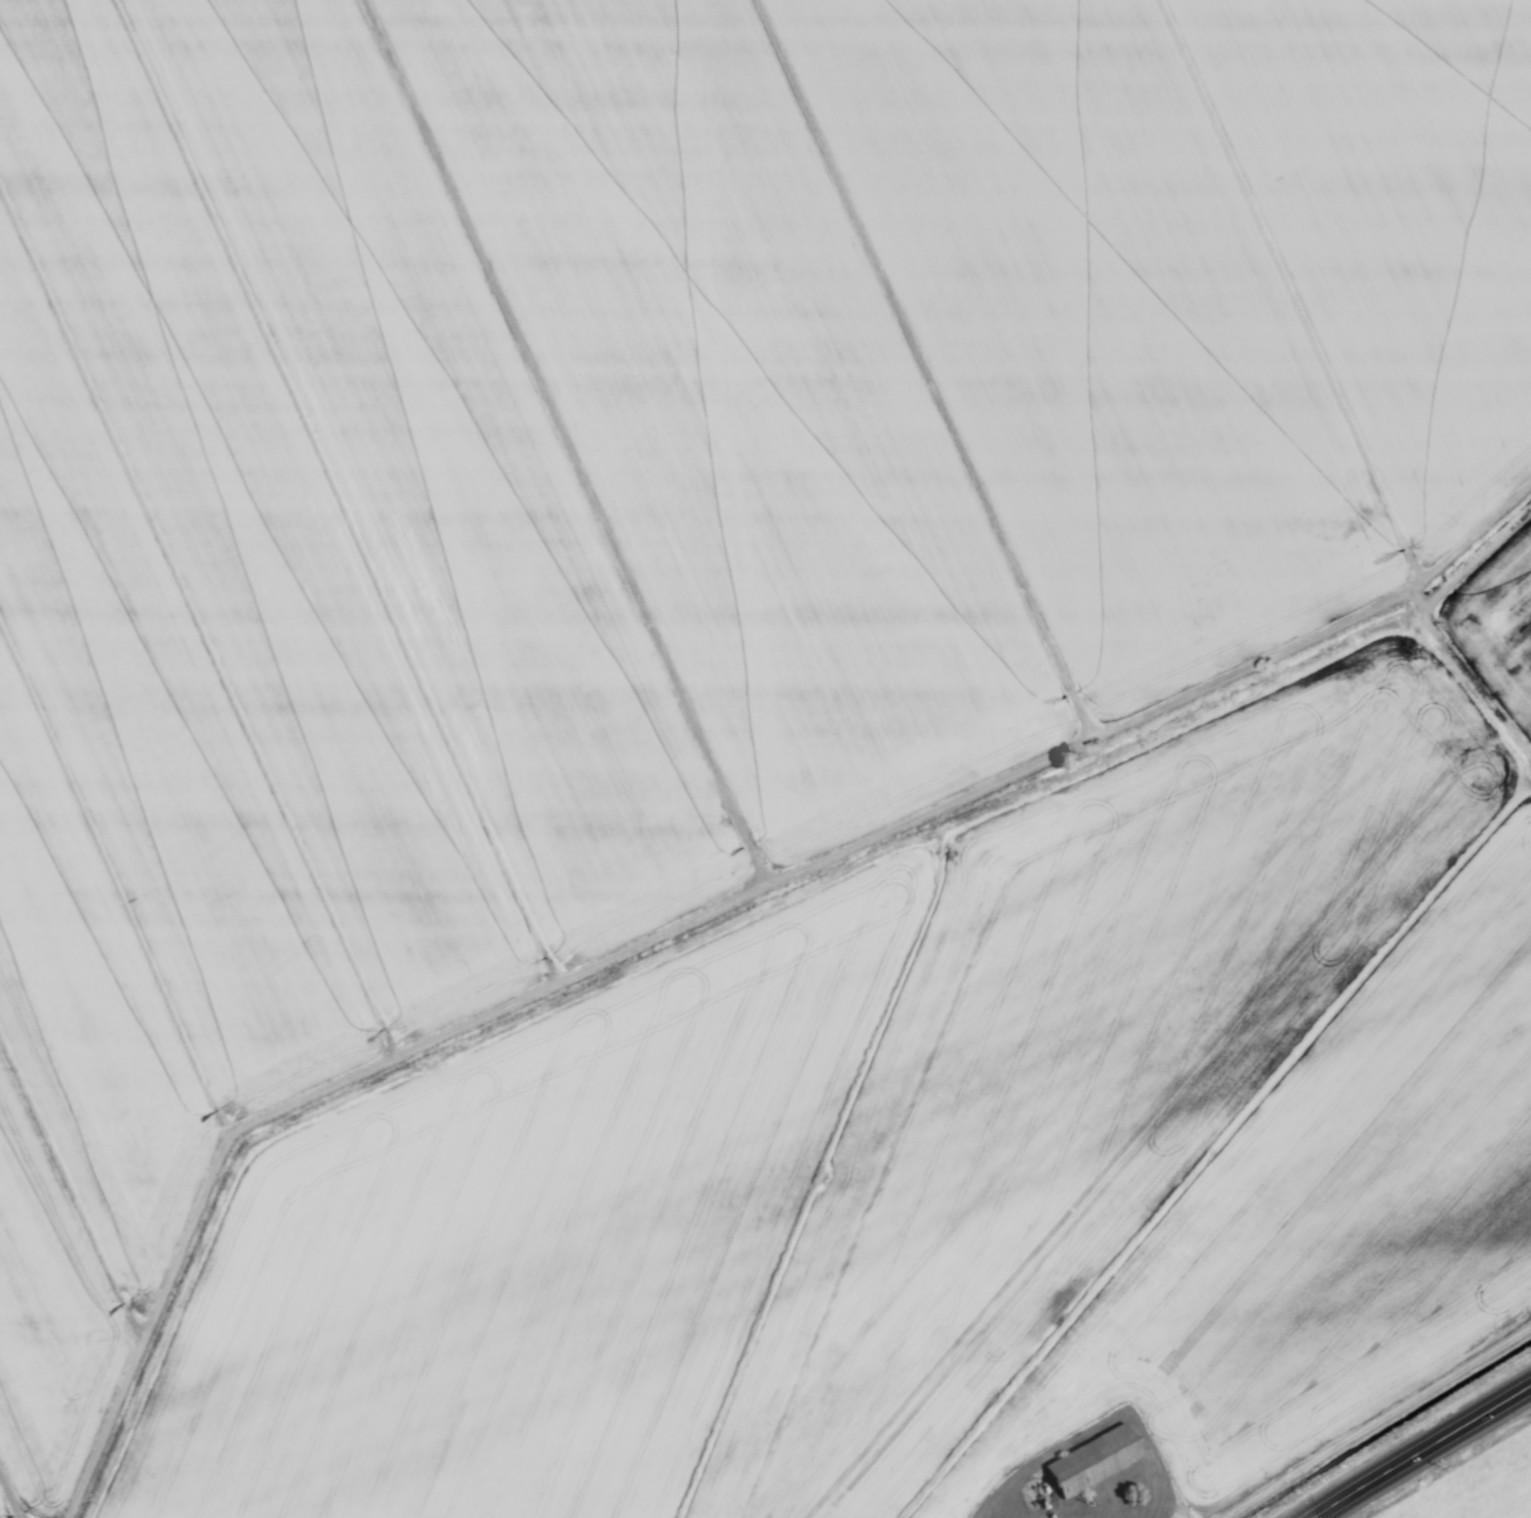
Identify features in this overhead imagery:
road: (1419, 1450)
building: (1094, 1462)

